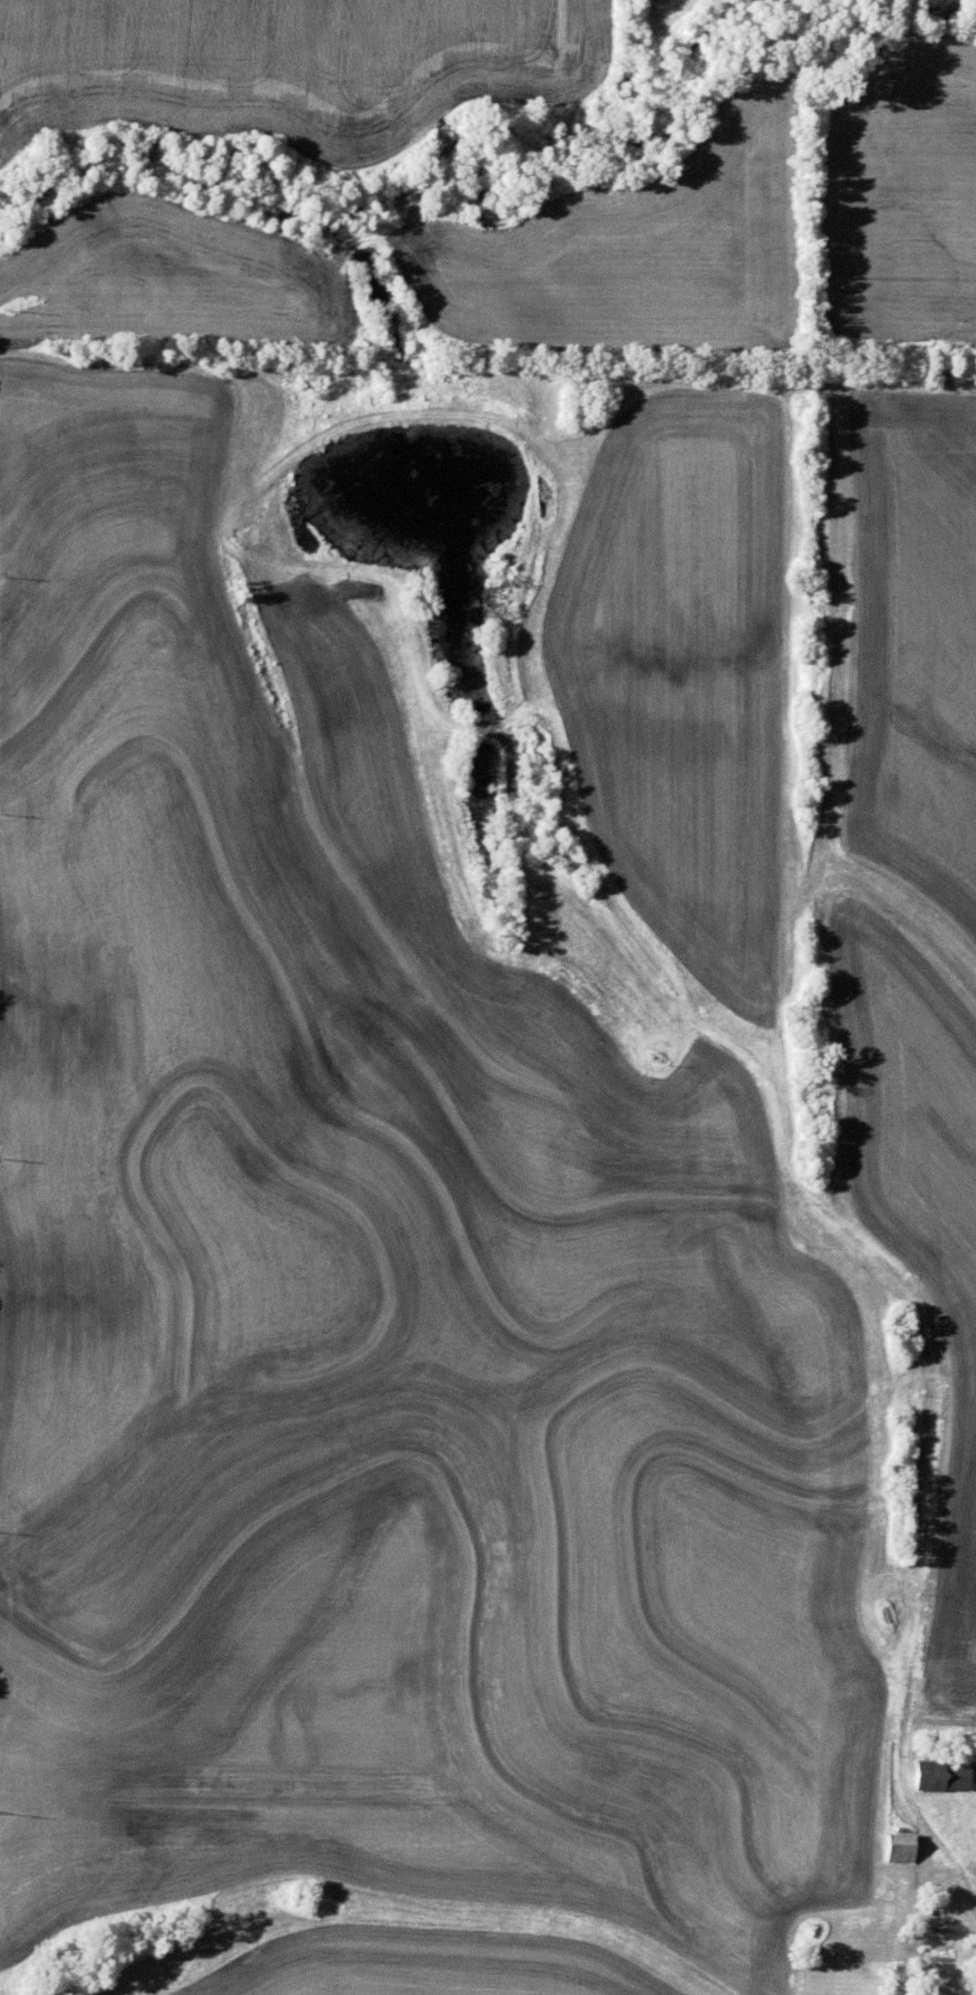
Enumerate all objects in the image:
building: (940, 1774)
building: (898, 1845)

